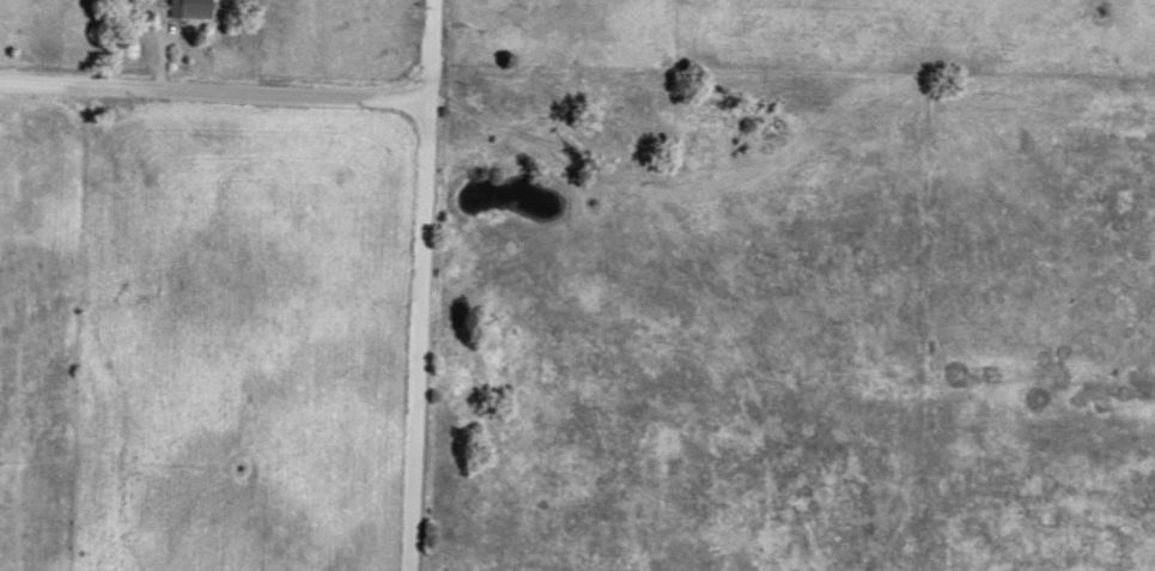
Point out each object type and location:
building: (187, 8)
road: (214, 92)
road: (420, 285)

